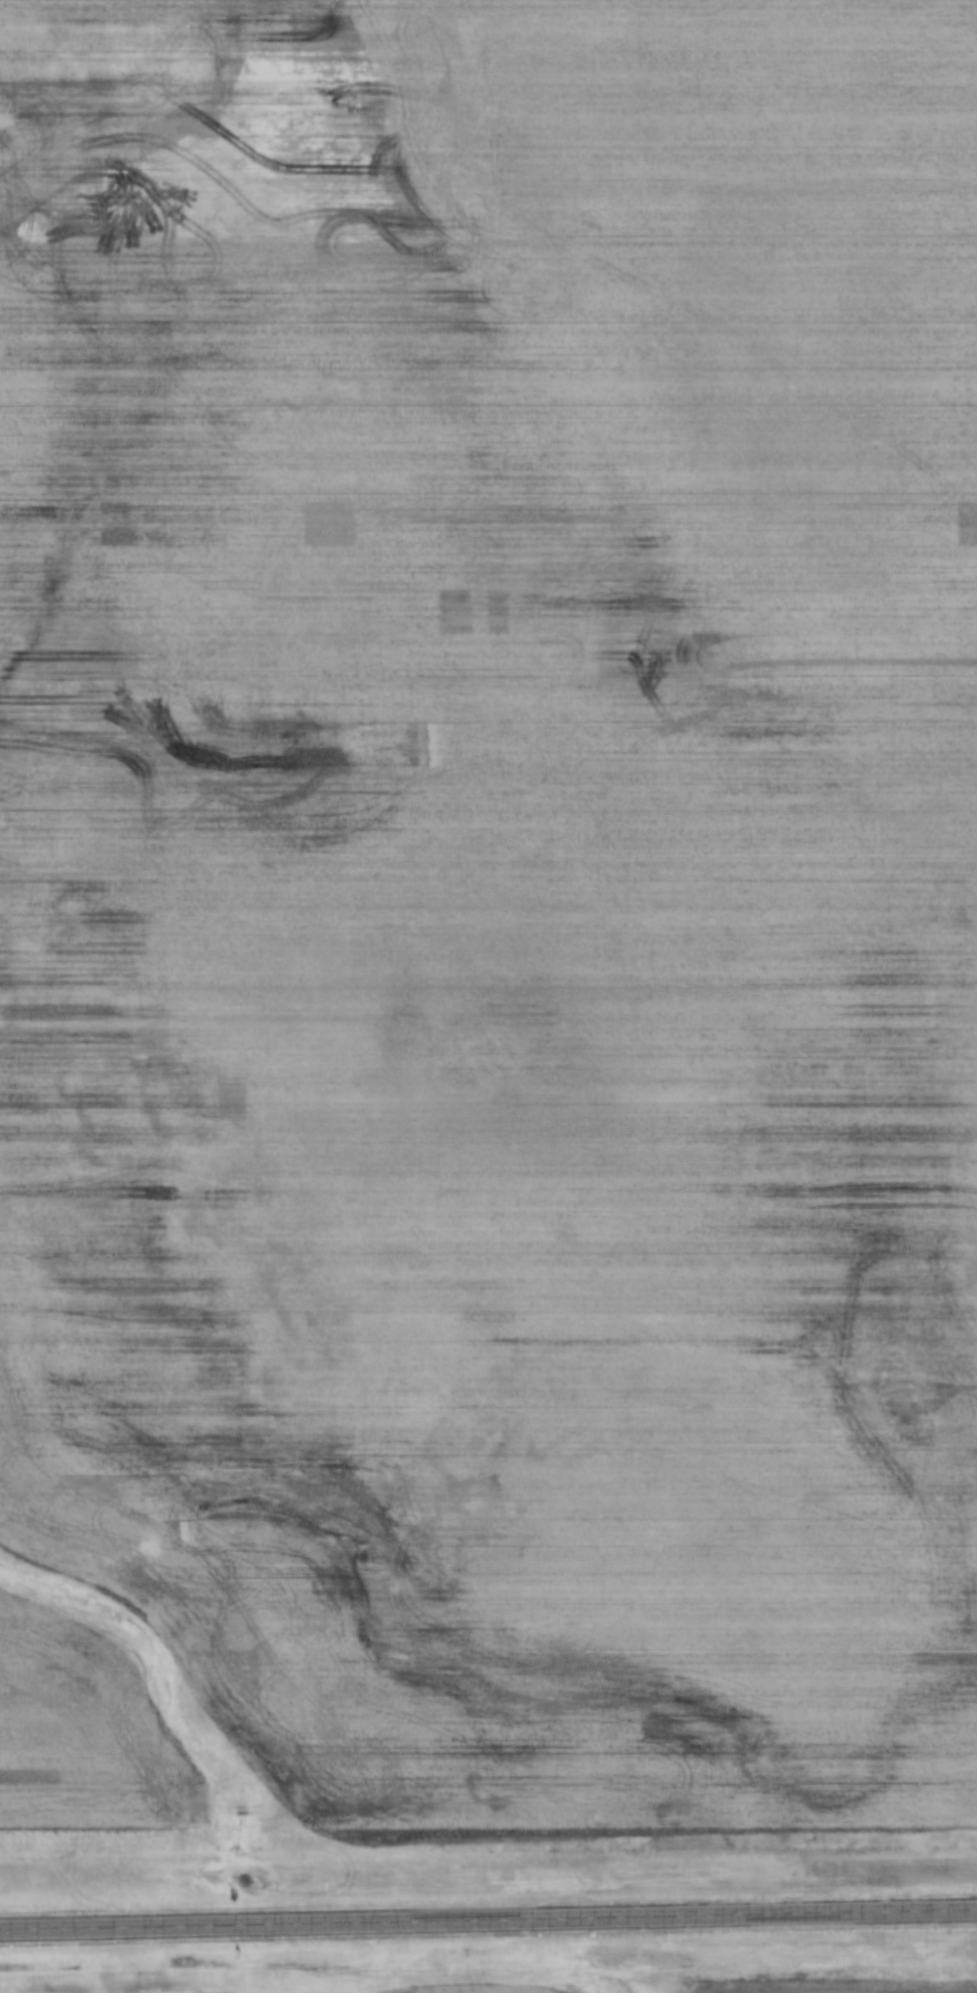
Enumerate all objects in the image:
road: (488, 1914)

